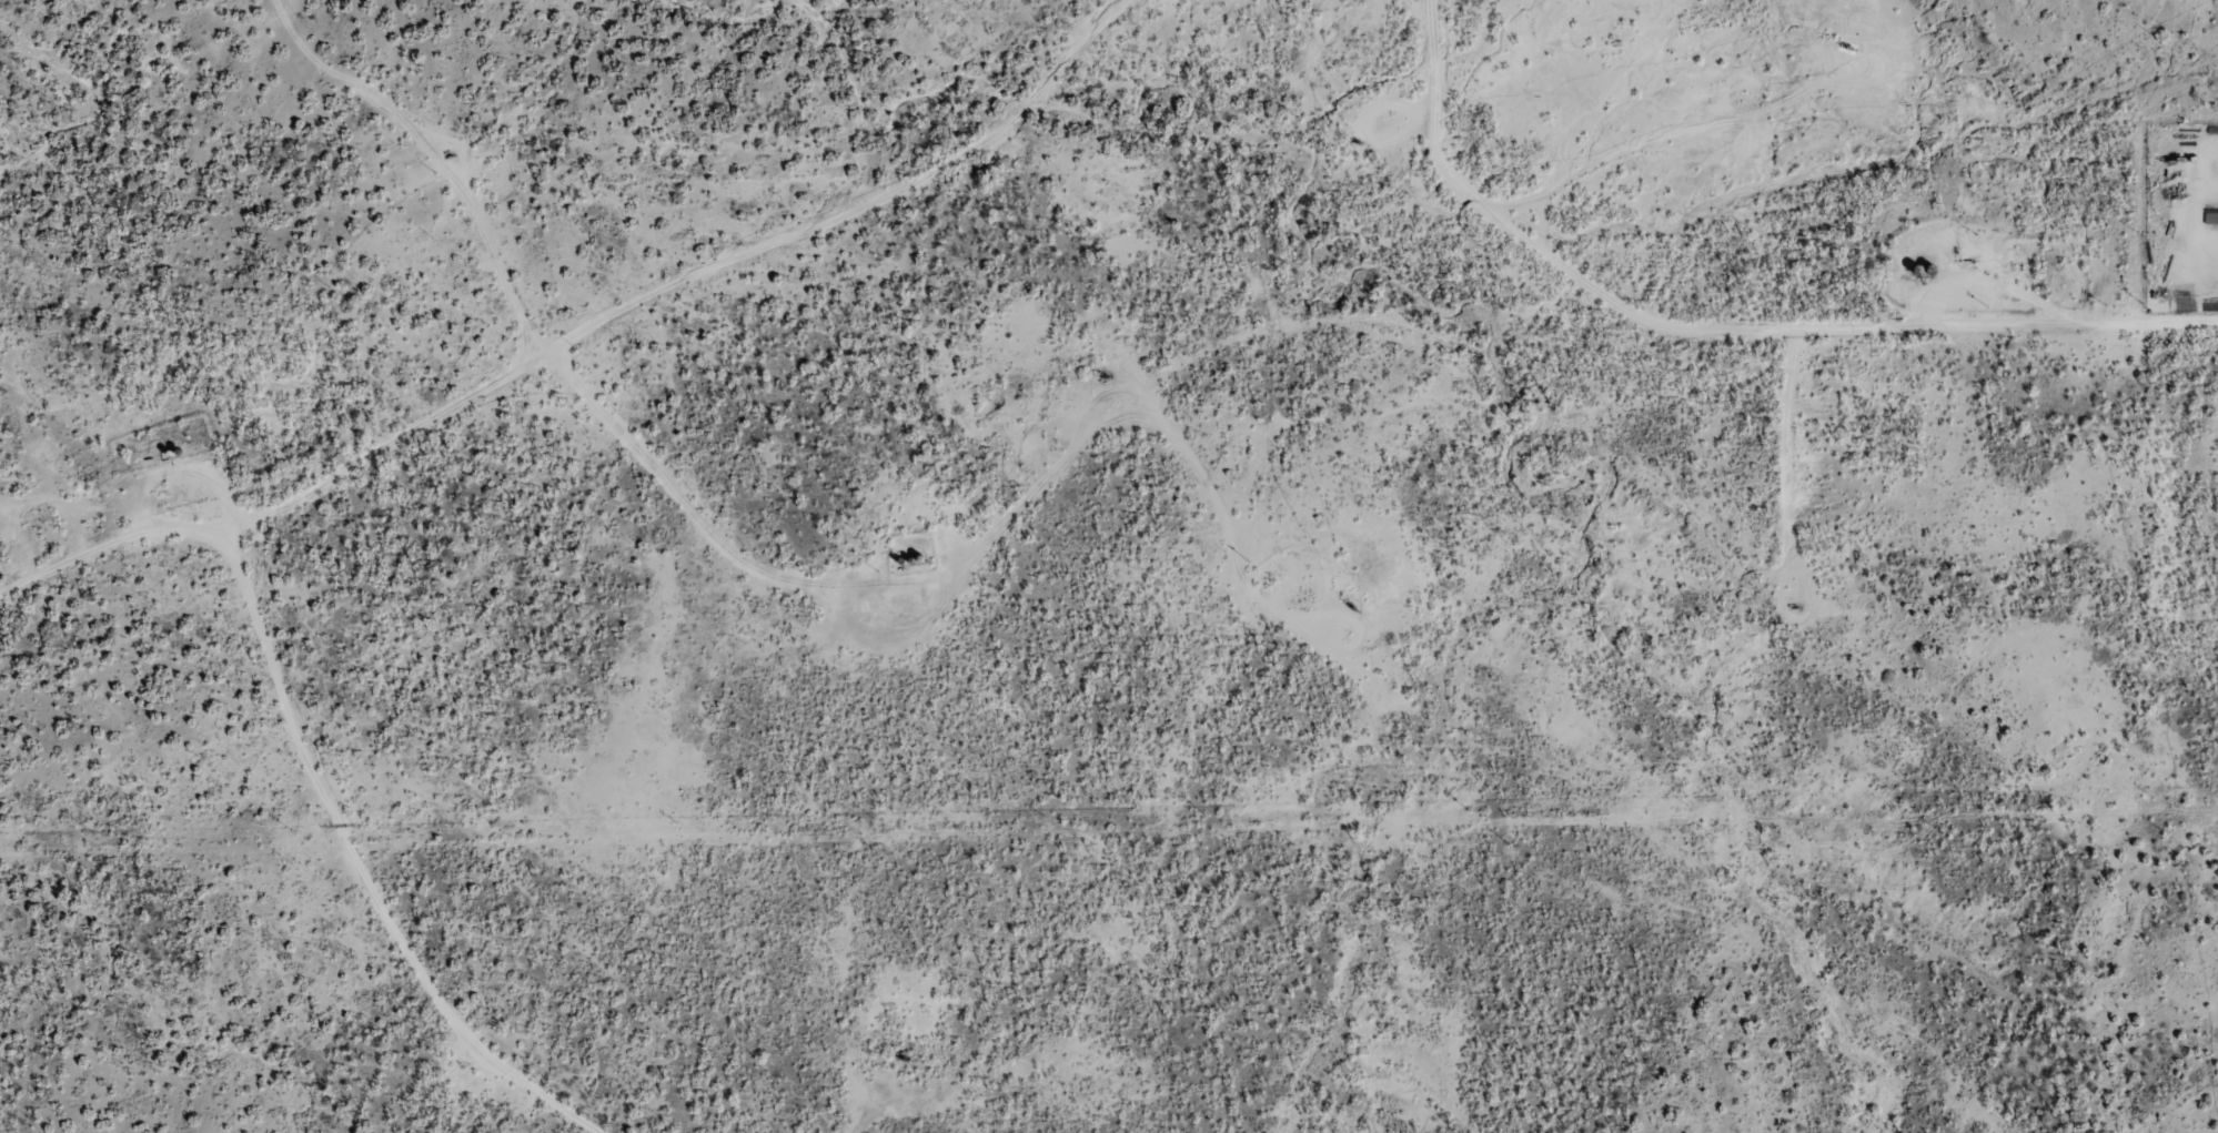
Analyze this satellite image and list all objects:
road: (1701, 346)
road: (611, 361)
road: (697, 545)
road: (541, 1127)

